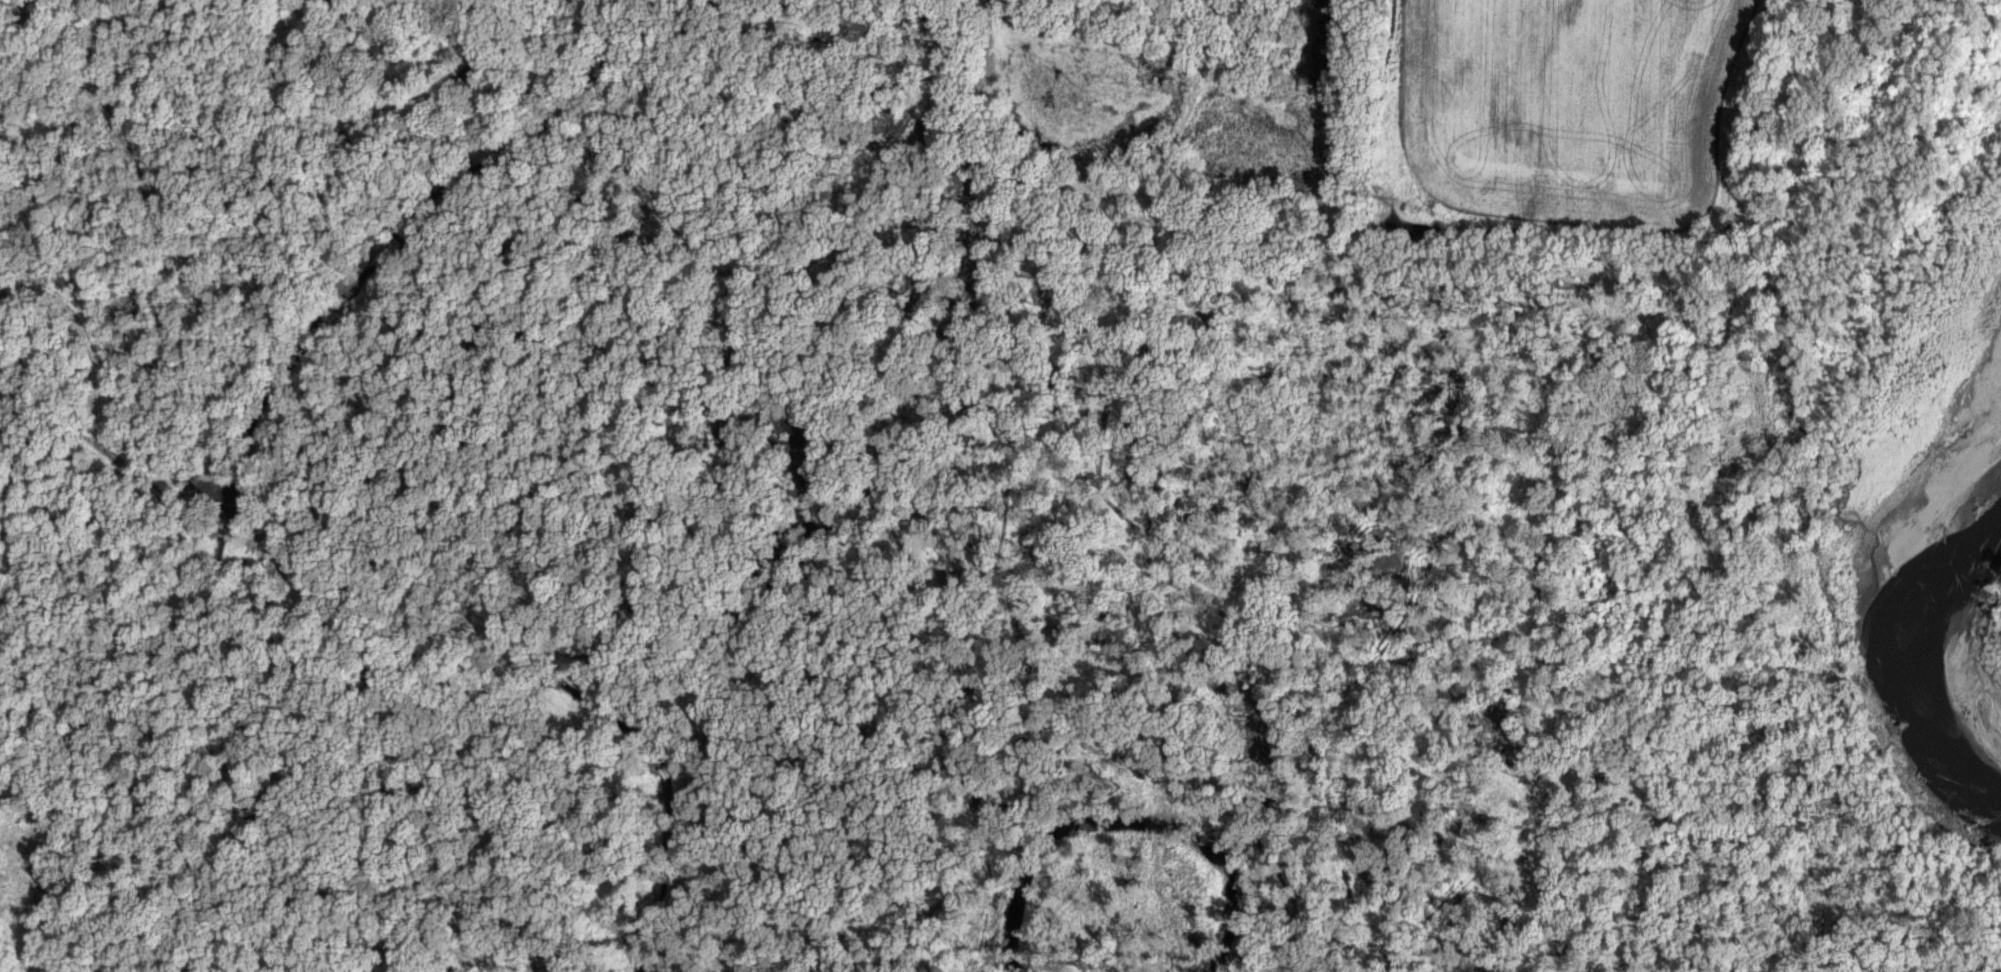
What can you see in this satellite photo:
river: (1865, 502)

